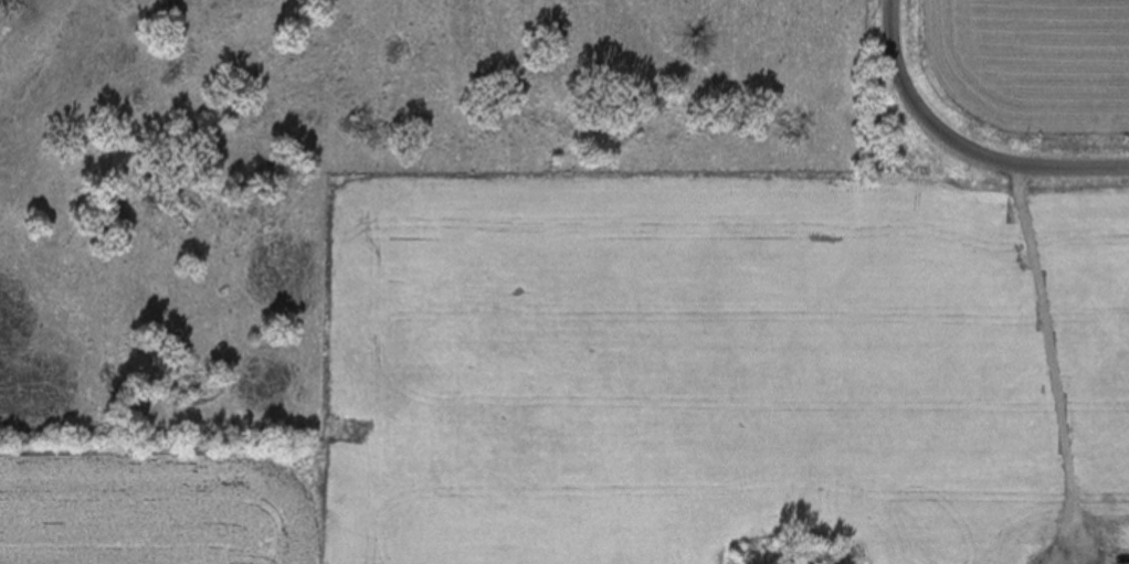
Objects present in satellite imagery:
road: (962, 140)

